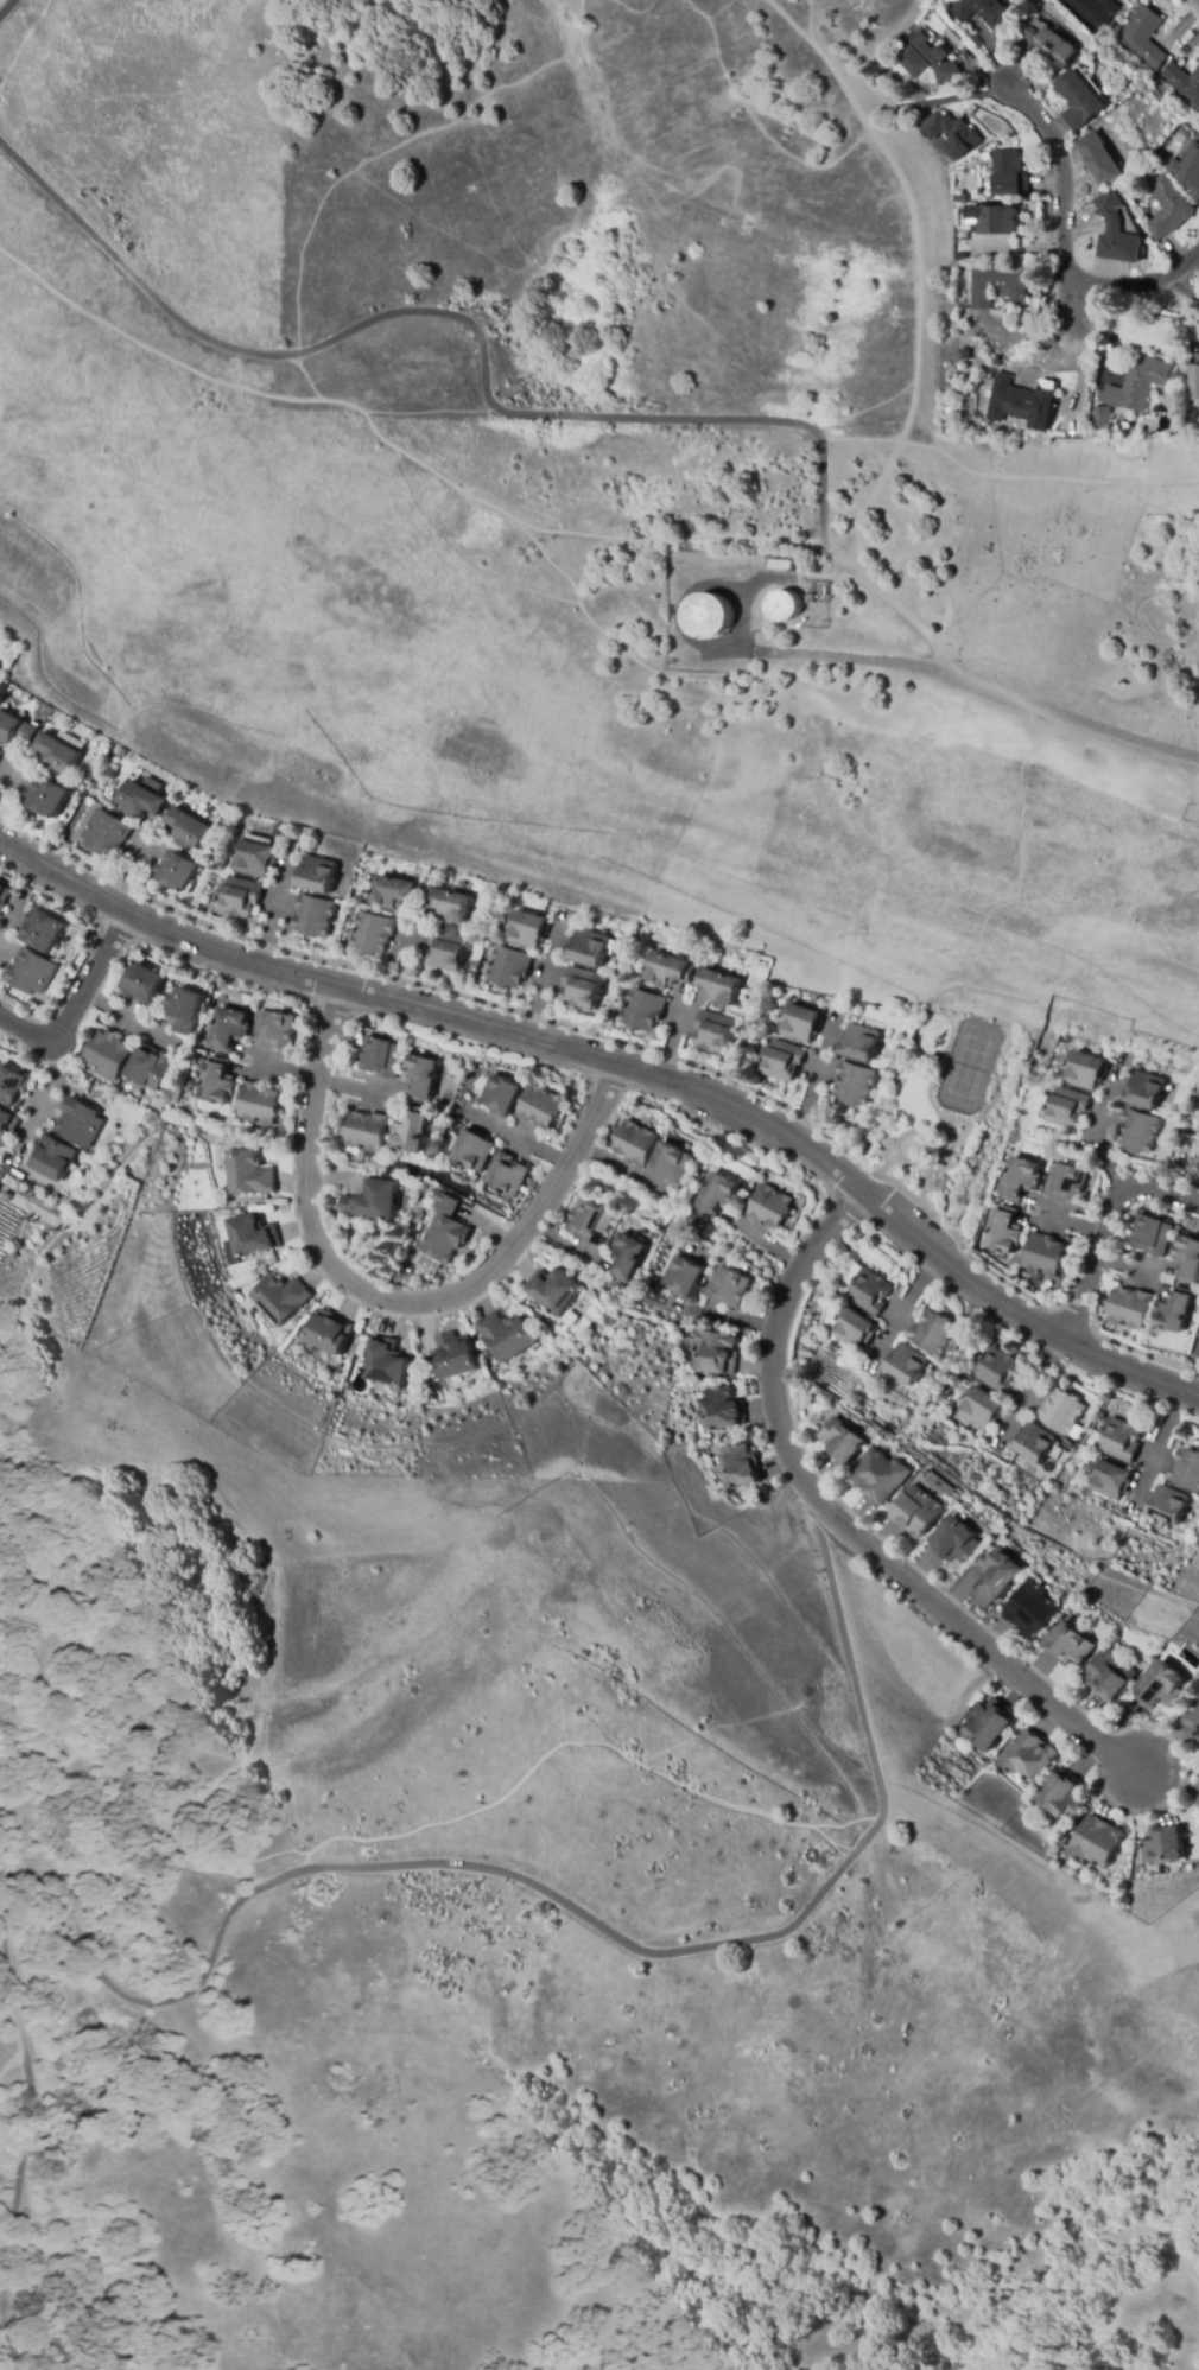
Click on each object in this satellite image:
road: (925, 5)
road: (6, 8)
building: (1093, 11)
building: (981, 12)
building: (1142, 37)
building: (1049, 45)
building: (926, 61)
building: (1181, 84)
building: (1079, 100)
building: (952, 133)
building: (984, 148)
building: (1099, 160)
building: (1186, 170)
building: (1009, 176)
road: (1065, 180)
road: (911, 208)
building: (1168, 208)
building: (963, 210)
building: (1001, 220)
building: (1116, 233)
road: (1136, 281)
building: (1000, 285)
road: (1186, 287)
road: (1068, 312)
road: (1078, 370)
building: (1195, 382)
building: (1141, 385)
road: (488, 399)
building: (1022, 402)
building: (1103, 419)
road: (393, 446)
road: (977, 475)
building: (781, 565)
building: (810, 598)
building: (787, 605)
building: (709, 617)
road: (978, 686)
building: (14, 730)
building: (0, 754)
building: (58, 755)
building: (47, 798)
building: (142, 800)
building: (189, 828)
building: (107, 834)
building: (256, 859)
building: (177, 871)
building: (317, 875)
building: (394, 892)
building: (4, 896)
building: (241, 897)
building: (448, 906)
building: (315, 916)
building: (43, 930)
building: (528, 930)
building: (373, 933)
building: (588, 948)
building: (446, 951)
building: (509, 967)
road: (968, 968)
building: (666, 971)
building: (31, 972)
building: (618, 972)
building: (145, 984)
building: (717, 985)
building: (582, 989)
building: (808, 998)
road: (74, 1003)
building: (186, 1010)
building: (642, 1010)
building: (800, 1023)
building: (230, 1030)
building: (275, 1030)
building: (715, 1032)
building: (861, 1042)
building: (109, 1055)
building: (383, 1057)
building: (782, 1061)
road: (624, 1063)
building: (151, 1068)
building: (1085, 1070)
building: (424, 1076)
building: (218, 1080)
road: (818, 1081)
building: (855, 1084)
building: (12, 1086)
building: (1144, 1089)
building: (502, 1094)
building: (258, 1105)
building: (543, 1107)
building: (1067, 1108)
park: (951, 1110)
building: (78, 1123)
building: (6, 1126)
building: (411, 1130)
building: (364, 1131)
building: (1140, 1131)
building: (635, 1143)
building: (472, 1150)
building: (52, 1158)
building: (671, 1163)
building: (248, 1174)
building: (505, 1174)
building: (1021, 1178)
building: (1198, 1178)
building: (1065, 1182)
building: (716, 1195)
building: (373, 1201)
building: (770, 1207)
building: (591, 1221)
road: (1106, 1225)
building: (445, 1231)
building: (1004, 1231)
building: (253, 1235)
building: (1153, 1235)
building: (627, 1256)
building: (1042, 1257)
building: (1188, 1259)
building: (683, 1277)
building: (728, 1286)
building: (554, 1290)
building: (870, 1292)
building: (280, 1298)
road: (388, 1302)
building: (1130, 1308)
building: (1176, 1310)
building: (1118, 1328)
building: (854, 1329)
building: (330, 1333)
building: (935, 1333)
building: (506, 1336)
building: (956, 1345)
building: (716, 1352)
building: (456, 1356)
building: (386, 1361)
building: (906, 1364)
building: (998, 1371)
building: (962, 1384)
building: (424, 1386)
building: (982, 1409)
building: (722, 1410)
building: (1062, 1411)
building: (1077, 1432)
building: (844, 1441)
building: (1122, 1441)
building: (1033, 1442)
road: (1166, 1442)
building: (740, 1467)
building: (1186, 1470)
building: (881, 1476)
building: (1111, 1480)
building: (1168, 1505)
building: (918, 1512)
road: (842, 1527)
building: (956, 1540)
building: (996, 1577)
building: (1032, 1609)
building: (1070, 1644)
building: (1185, 1660)
building: (1109, 1676)
building: (1161, 1686)
building: (989, 1723)
building: (1192, 1726)
building: (1028, 1758)
building: (1198, 1780)
building: (1062, 1796)
building: (1198, 1802)
road: (33, 1813)
road: (145, 1828)
road: (440, 1829)
building: (1096, 1842)
building: (1163, 1844)
road: (354, 1863)
park: (532, 1942)
road: (0, 2362)

